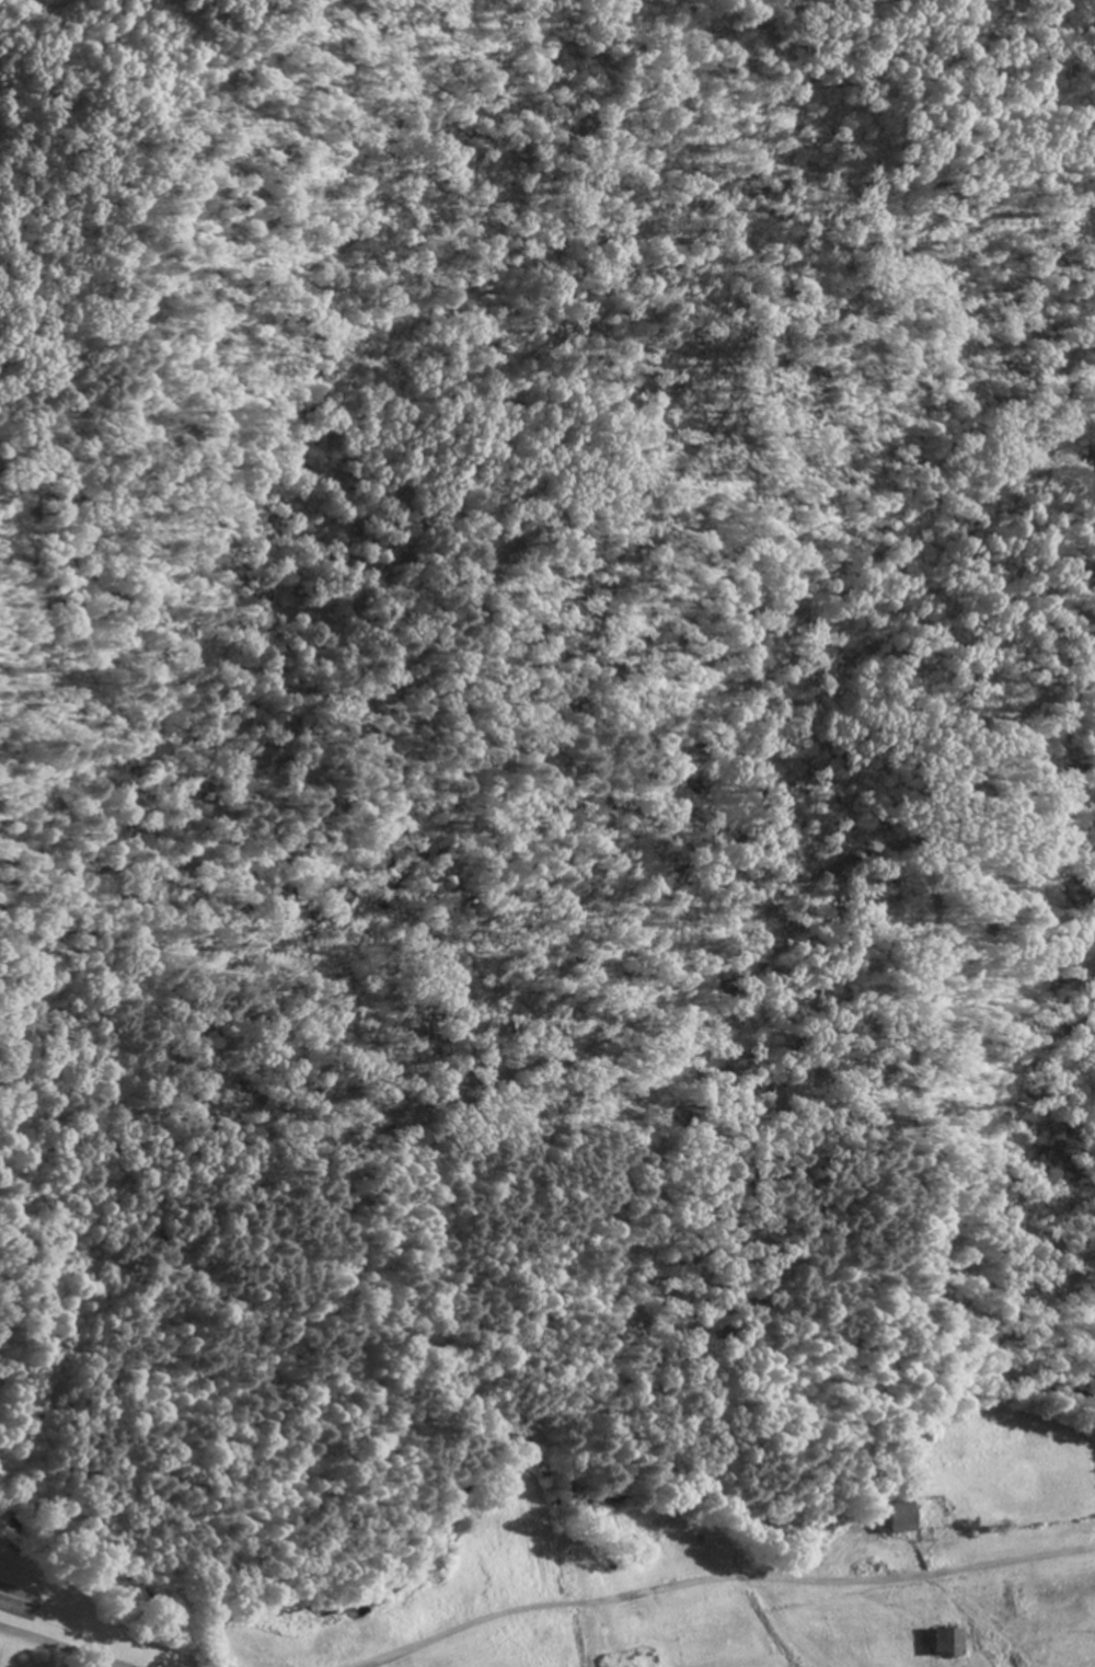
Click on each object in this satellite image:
road: (496, 1621)
road: (58, 1647)

